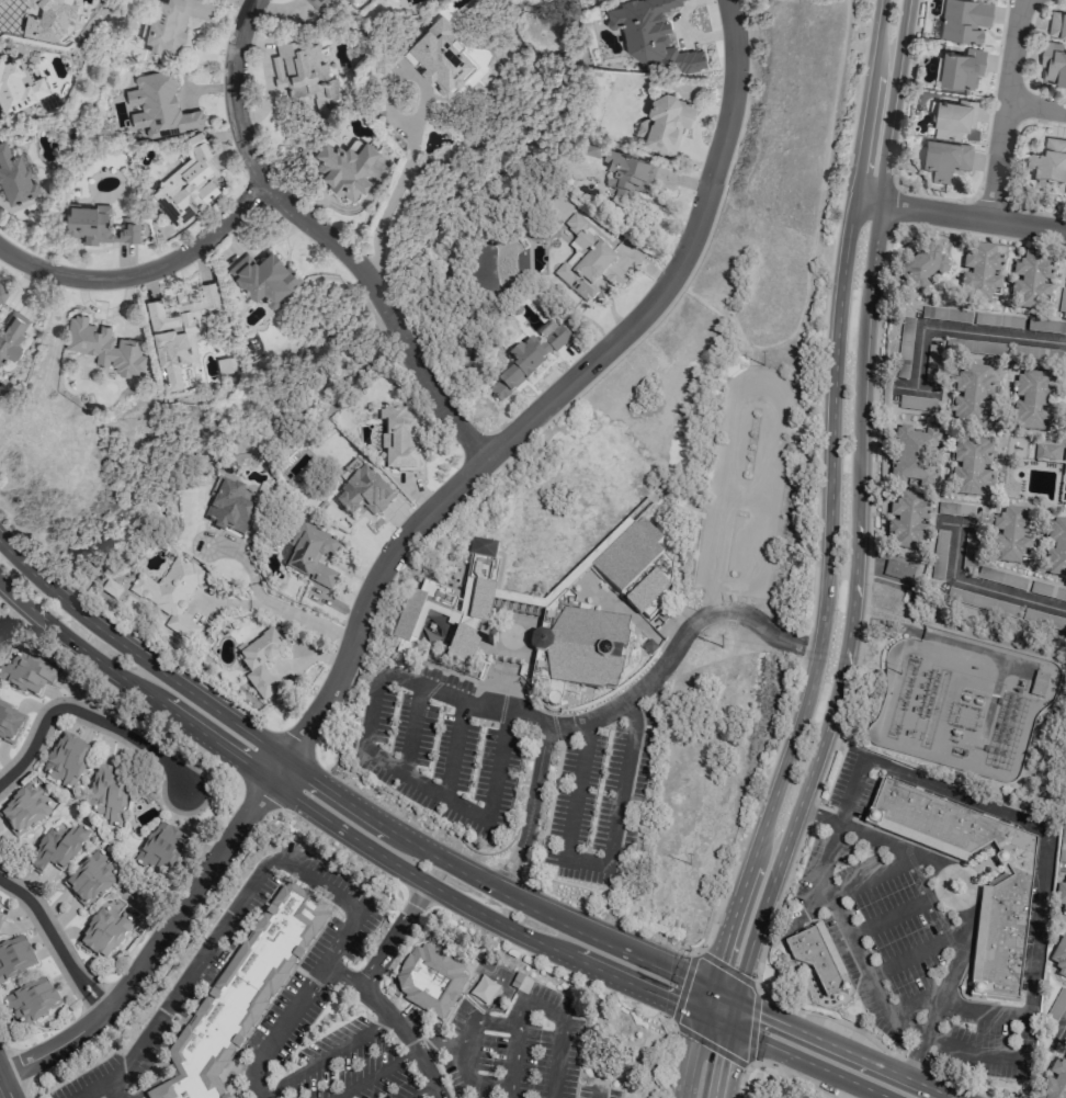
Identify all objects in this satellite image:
building: (320, 3)
road: (243, 5)
building: (48, 18)
building: (964, 21)
building: (174, 24)
building: (1057, 25)
building: (651, 34)
building: (431, 57)
building: (1053, 64)
building: (961, 69)
building: (303, 71)
building: (18, 86)
road: (882, 100)
building: (158, 107)
road: (1036, 107)
road: (1006, 110)
building: (953, 120)
building: (667, 123)
building: (590, 149)
building: (945, 158)
building: (1048, 163)
building: (343, 168)
building: (627, 174)
building: (14, 176)
building: (188, 184)
building: (1065, 190)
road: (818, 206)
road: (967, 216)
building: (98, 225)
road: (327, 237)
building: (586, 263)
building: (923, 268)
building: (979, 273)
road: (146, 275)
building: (262, 278)
building: (1031, 281)
building: (3, 294)
building: (1062, 301)
road: (735, 317)
building: (997, 319)
building: (179, 329)
road: (964, 332)
building: (11, 337)
building: (104, 347)
building: (525, 362)
parking lot: (748, 387)
road: (756, 388)
road: (917, 390)
building: (971, 395)
building: (1031, 400)
building: (398, 441)
building: (1045, 451)
building: (914, 456)
building: (971, 466)
building: (1064, 486)
building: (362, 495)
building: (230, 506)
building: (907, 522)
road: (961, 527)
building: (1009, 533)
road: (399, 545)
building: (1055, 548)
building: (308, 554)
building: (632, 565)
building: (661, 565)
building: (899, 569)
road: (984, 589)
building: (171, 596)
building: (980, 601)
road: (825, 602)
road: (276, 605)
building: (451, 605)
road: (852, 609)
building: (577, 650)
building: (260, 664)
building: (26, 673)
power substation: (962, 701)
road: (621, 703)
road: (86, 715)
building: (9, 724)
road: (411, 729)
road: (365, 746)
road: (454, 749)
building: (65, 760)
building: (105, 792)
road: (341, 799)
building: (23, 811)
road: (874, 837)
building: (1063, 838)
building: (56, 849)
building: (158, 850)
road: (599, 865)
road: (871, 873)
building: (89, 880)
road: (419, 881)
building: (1061, 896)
road: (966, 899)
building: (0, 917)
building: (102, 933)
building: (998, 941)
road: (56, 942)
road: (206, 944)
building: (1059, 956)
building: (14, 958)
building: (816, 958)
road: (338, 975)
building: (428, 981)
road: (944, 991)
road: (1031, 991)
road: (366, 992)
building: (240, 995)
traffic signals: (721, 995)
road: (755, 995)
road: (295, 1000)
building: (31, 1001)
road: (984, 1009)
road: (546, 1012)
traffic signals: (713, 1022)
road: (1061, 1032)
road: (874, 1042)
road: (442, 1043)
road: (467, 1043)
road: (707, 1045)
road: (836, 1046)
road: (514, 1049)
road: (328, 1056)
road: (558, 1061)
road: (376, 1073)
road: (782, 1077)
building: (1055, 1080)
road: (5, 1083)
road: (486, 1083)
road: (3, 1085)
road: (111, 1088)
road: (423, 1091)
road: (598, 1096)

